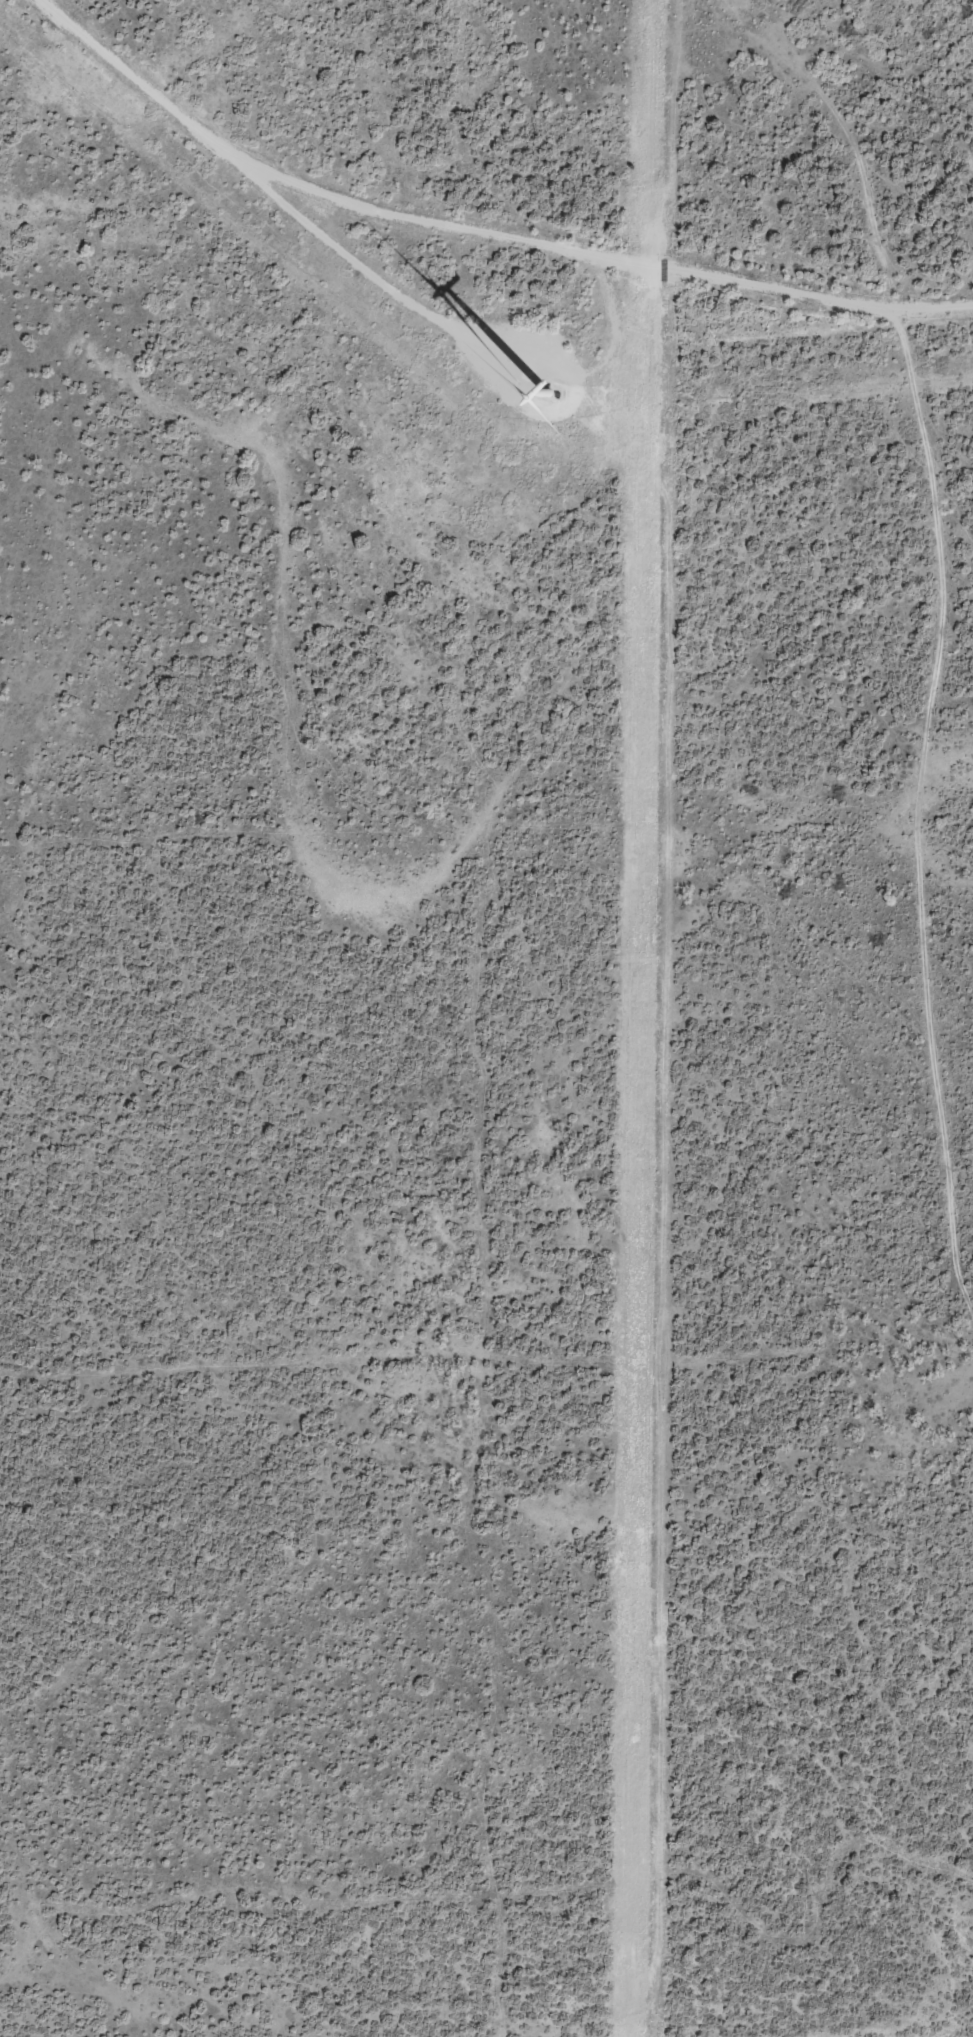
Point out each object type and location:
wind turbine: (567, 366)
road: (903, 603)
road: (487, 1507)

